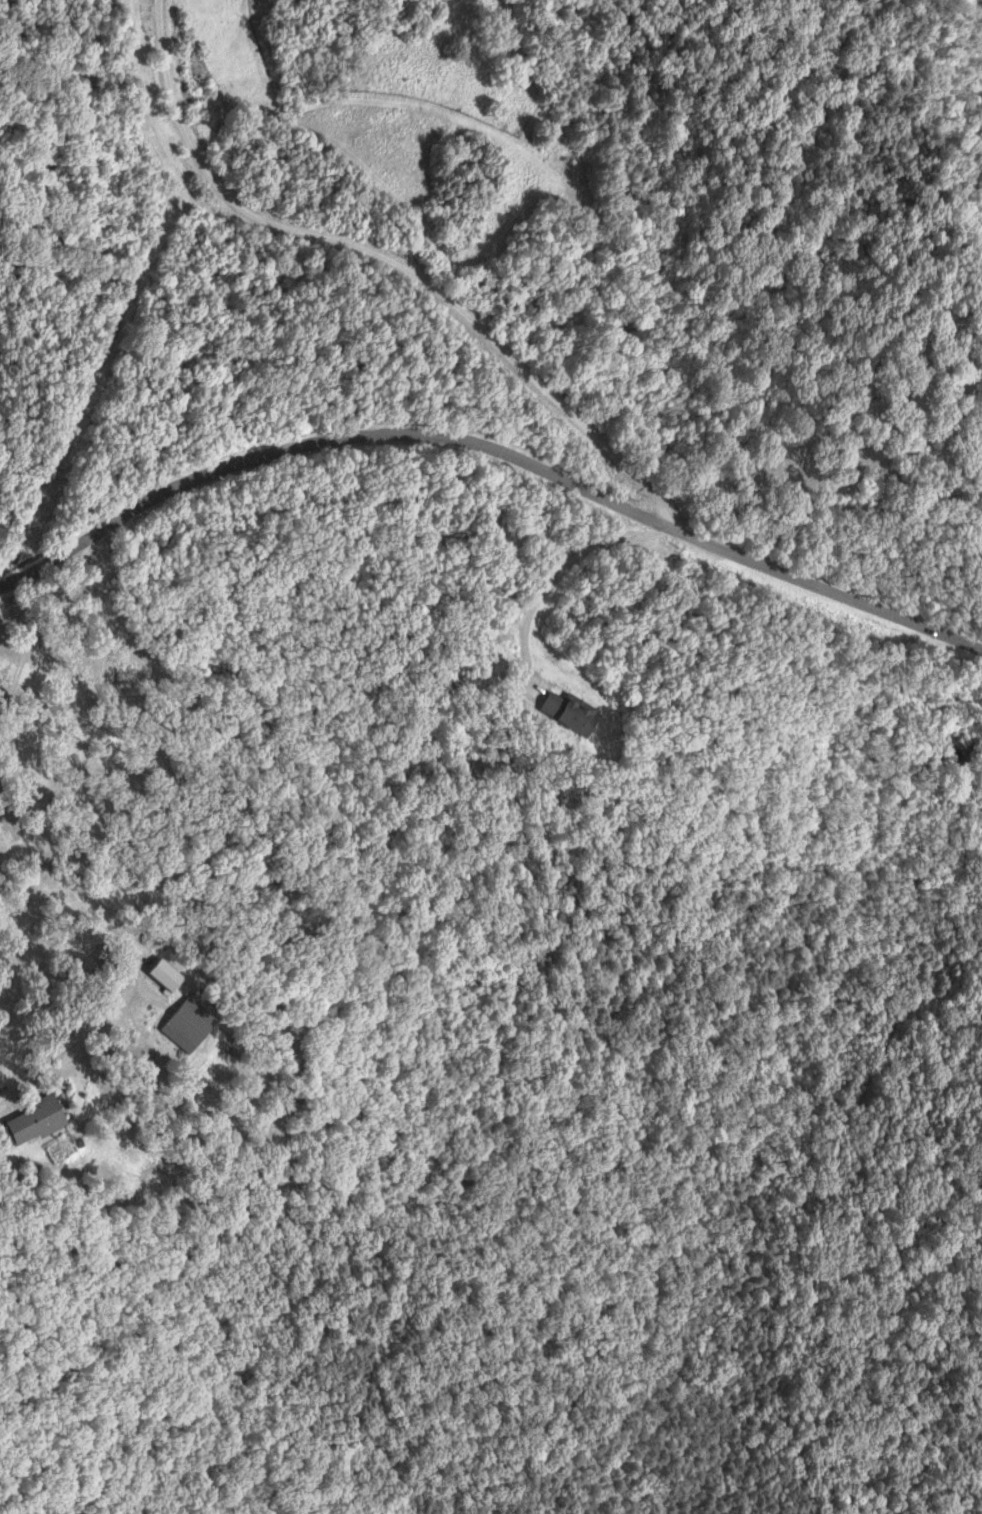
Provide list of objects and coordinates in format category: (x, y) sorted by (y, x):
road: (382, 261)
road: (491, 452)
road: (555, 576)
building: (572, 712)
building: (167, 974)
building: (190, 1025)
building: (38, 1121)

